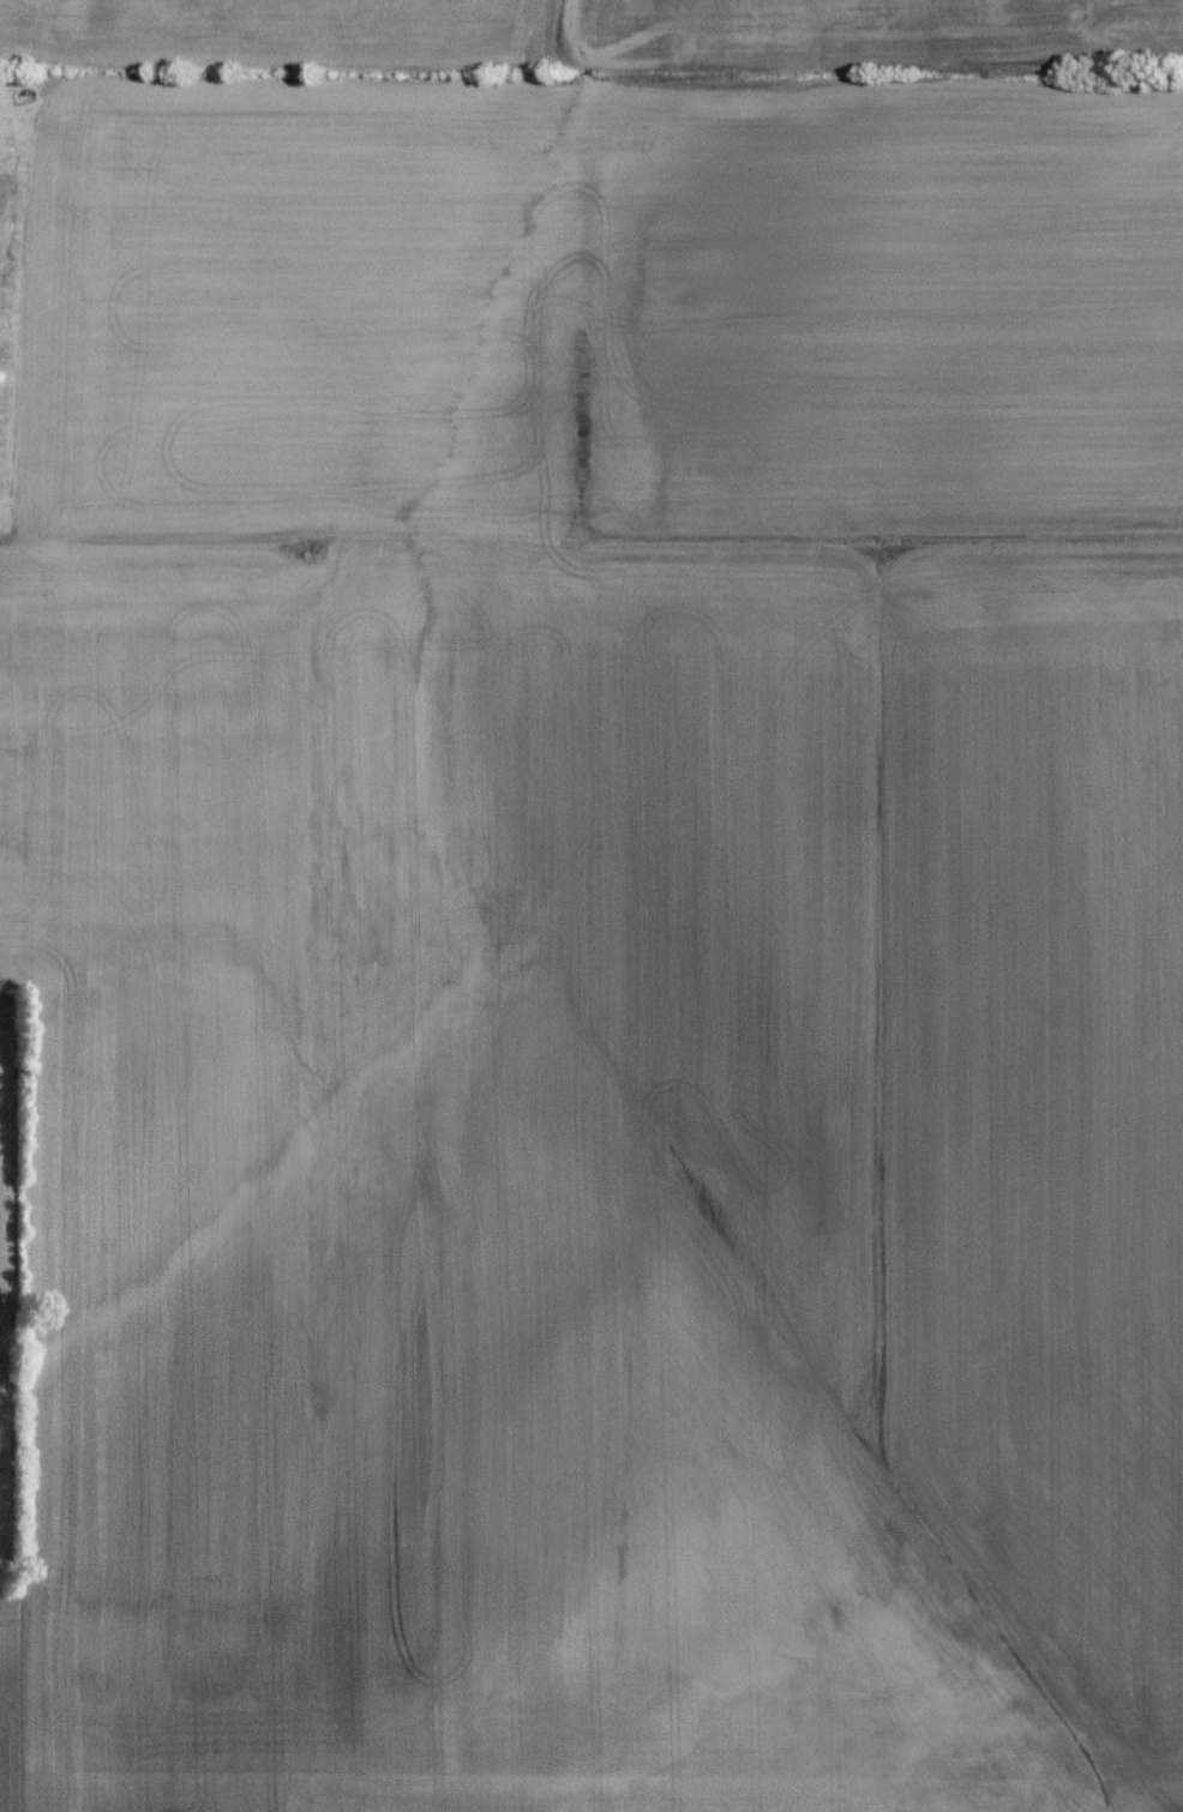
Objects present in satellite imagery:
road: (313, 548)

